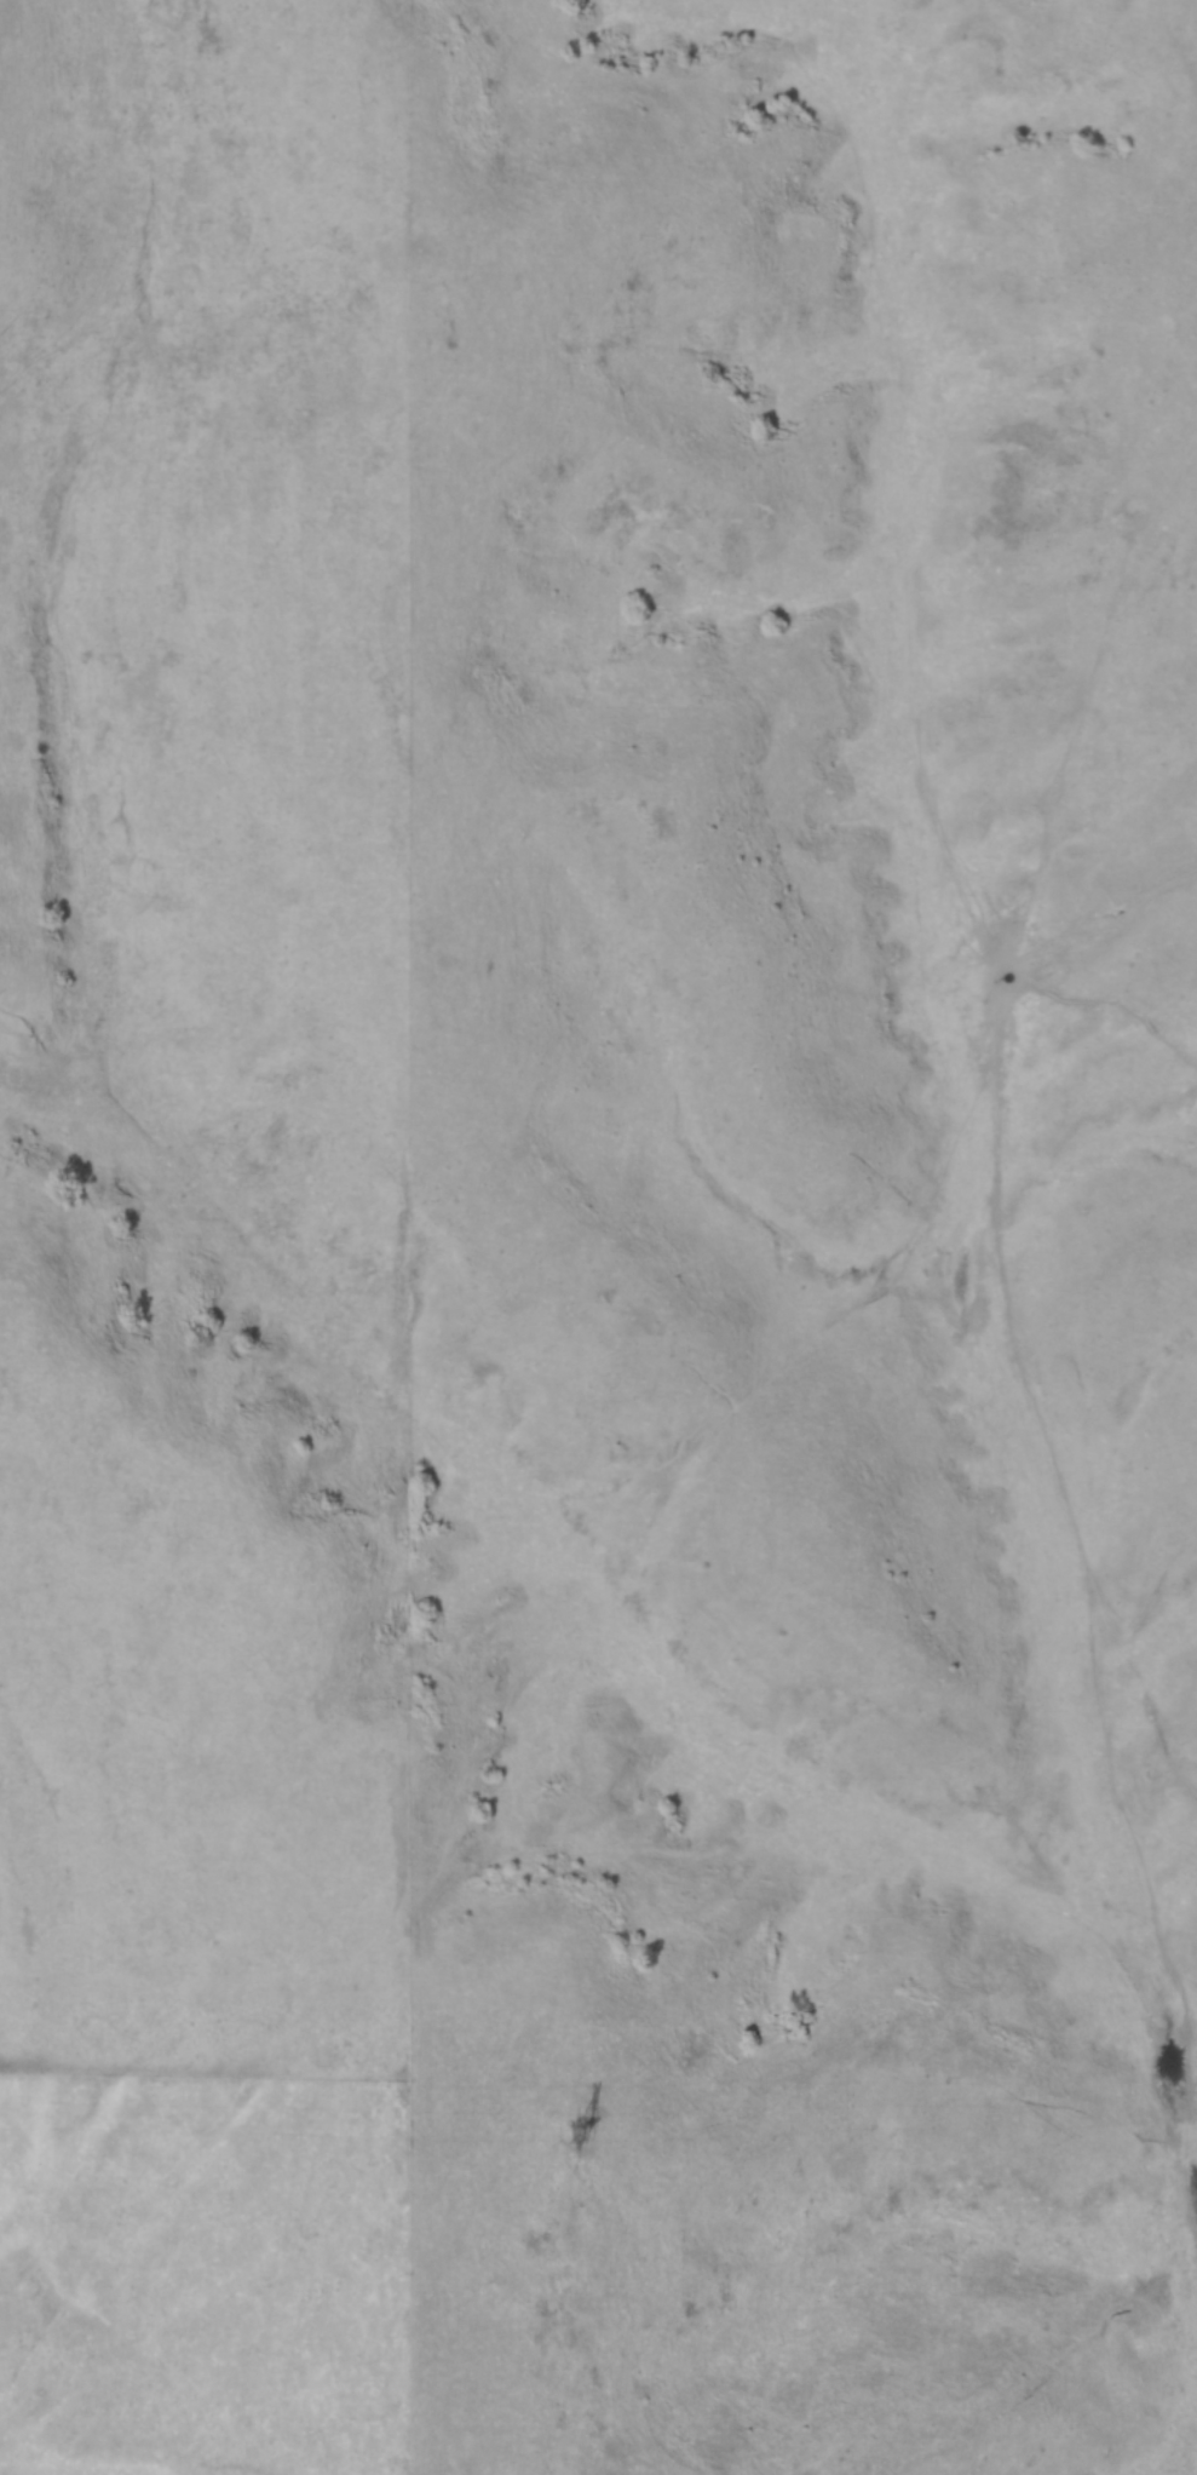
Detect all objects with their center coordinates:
power tower: (577, 2134)

